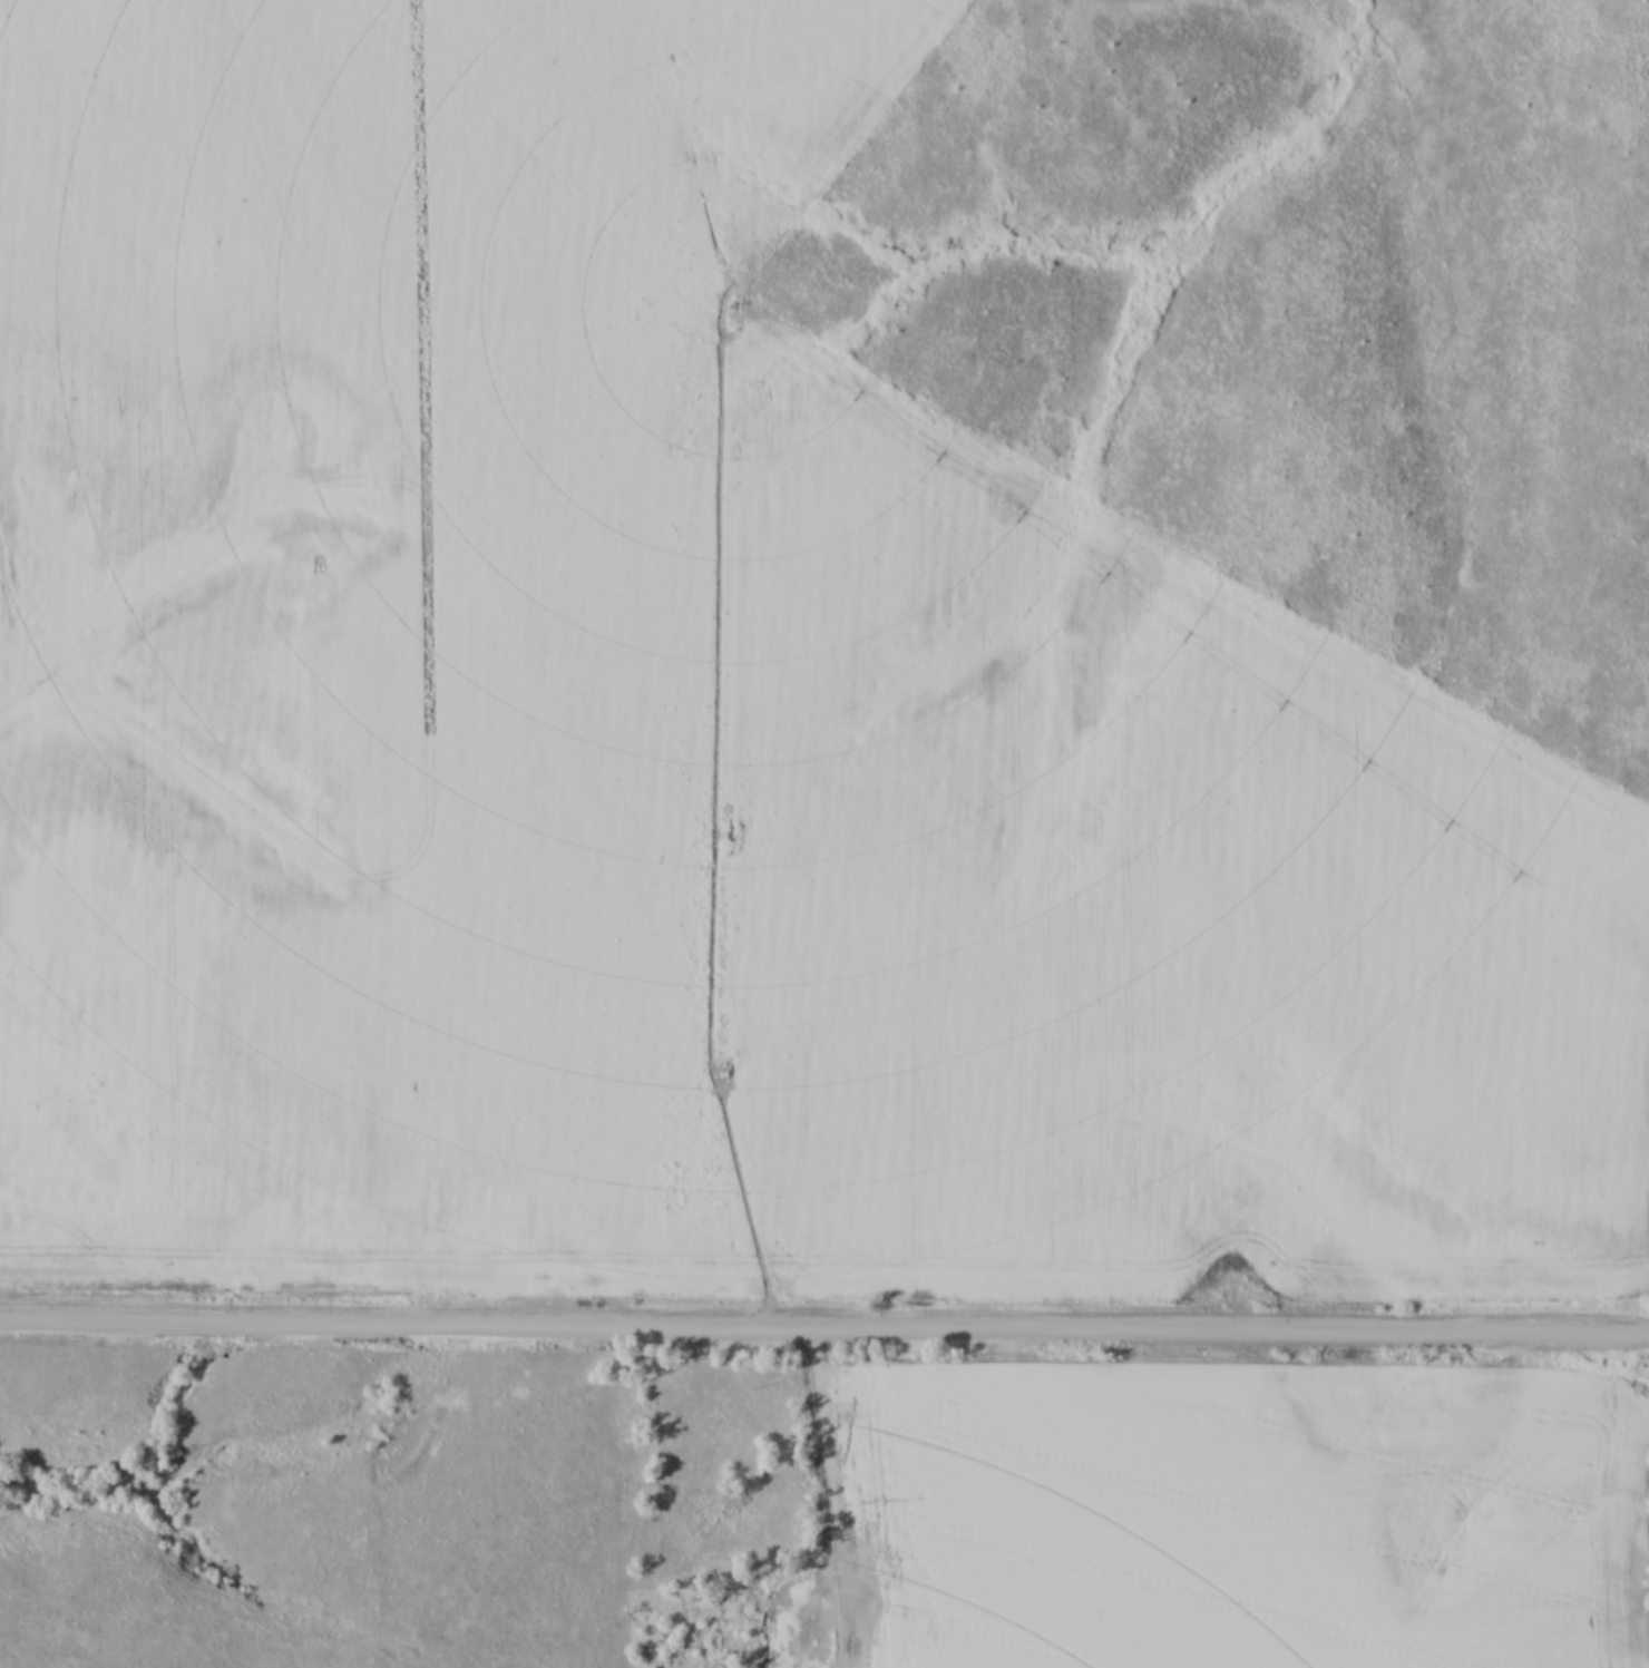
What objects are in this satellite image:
road: (823, 1340)

